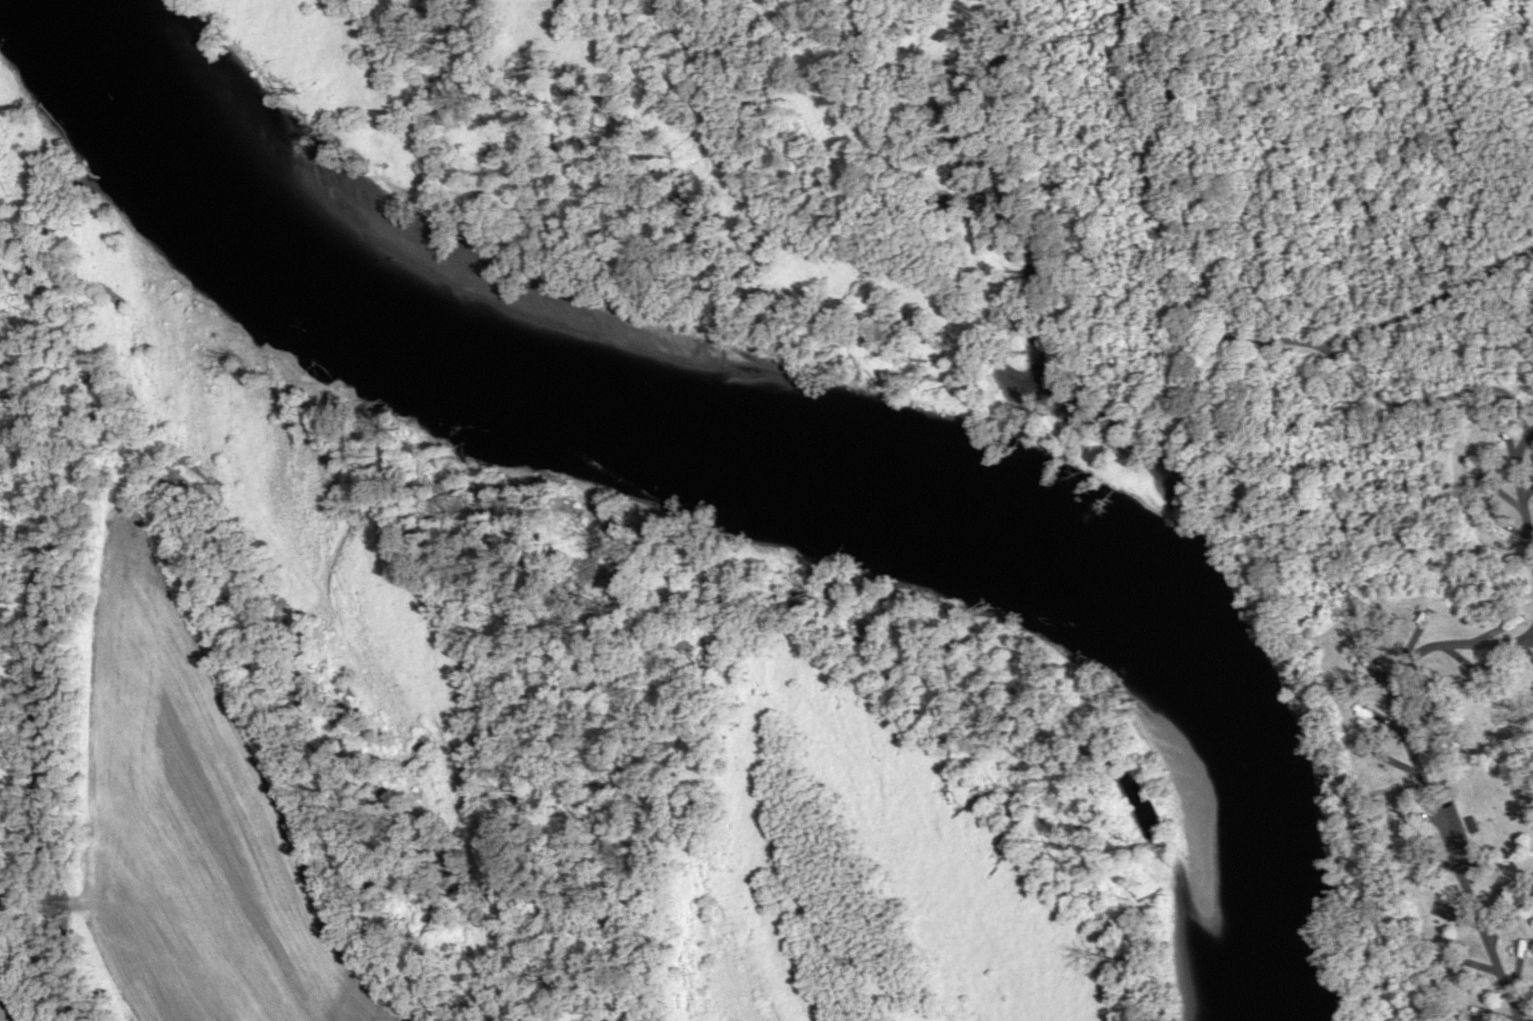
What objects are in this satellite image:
river: (776, 443)
road: (1519, 495)
road: (1528, 641)
road: (1420, 777)

